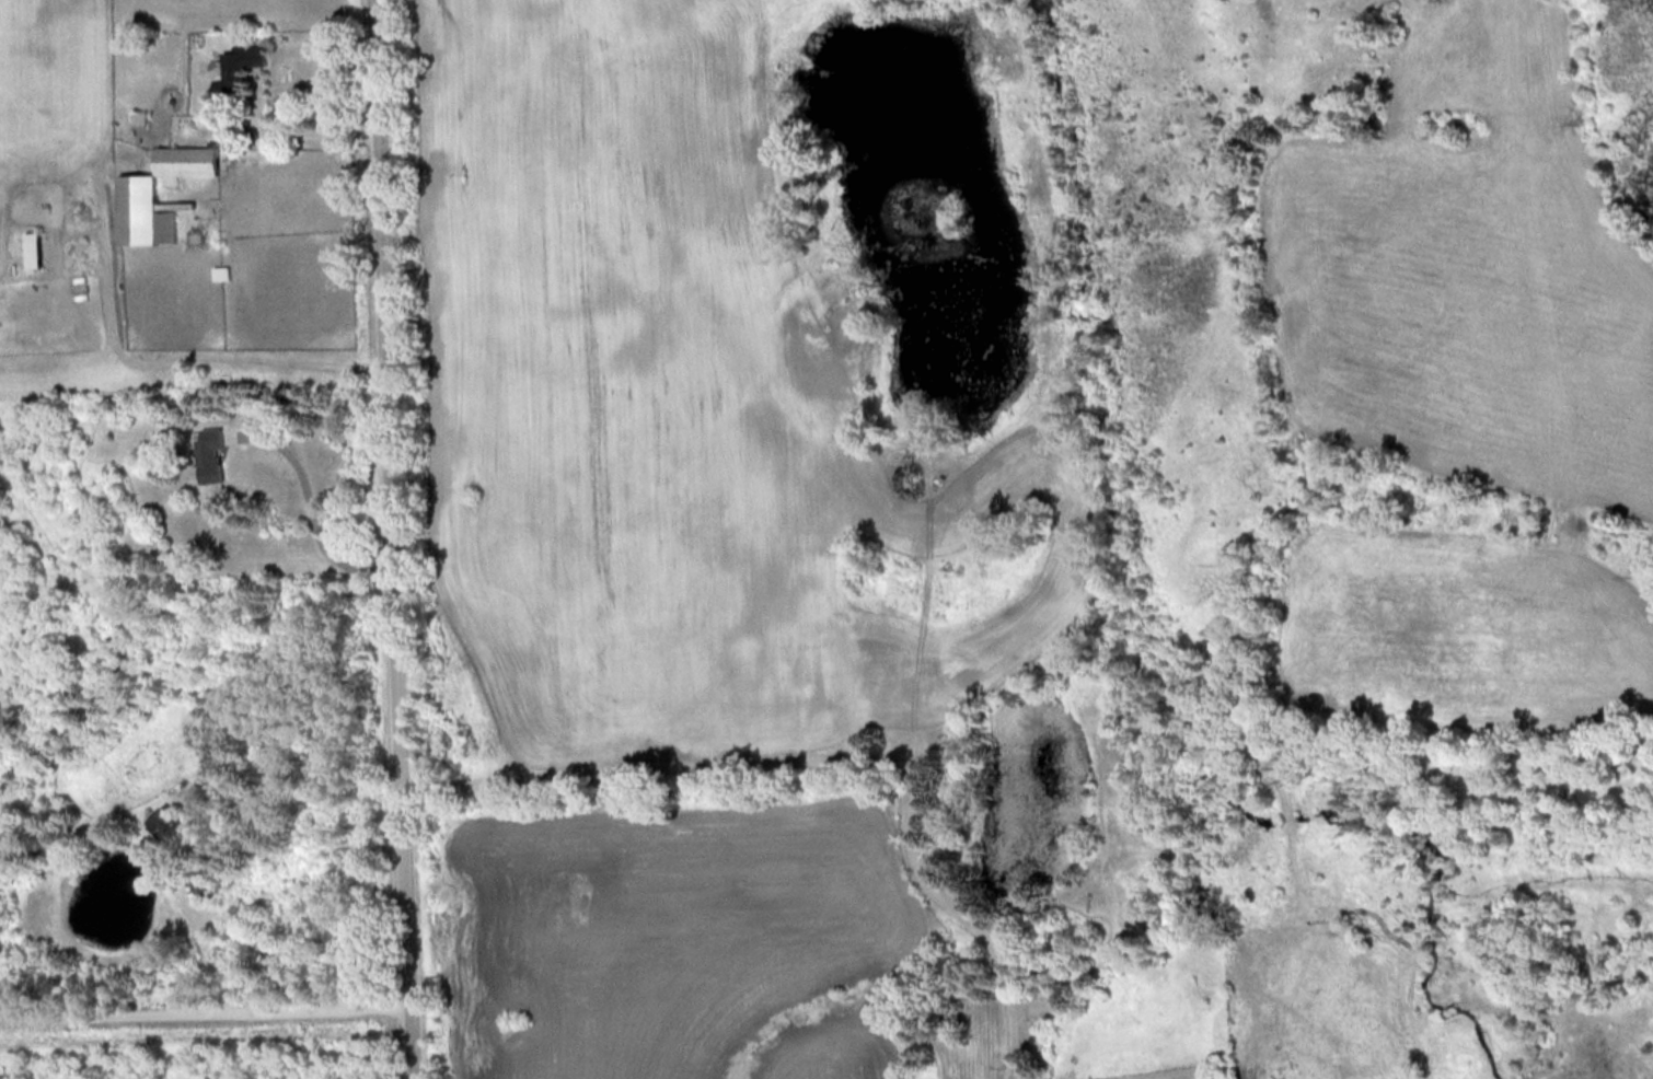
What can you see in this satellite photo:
building: (241, 62)
road: (308, 129)
building: (139, 196)
building: (32, 248)
road: (155, 356)
road: (316, 512)
road: (400, 538)
road: (836, 755)
building: (167, 826)
building: (204, 883)
road: (203, 943)
road: (208, 1006)

